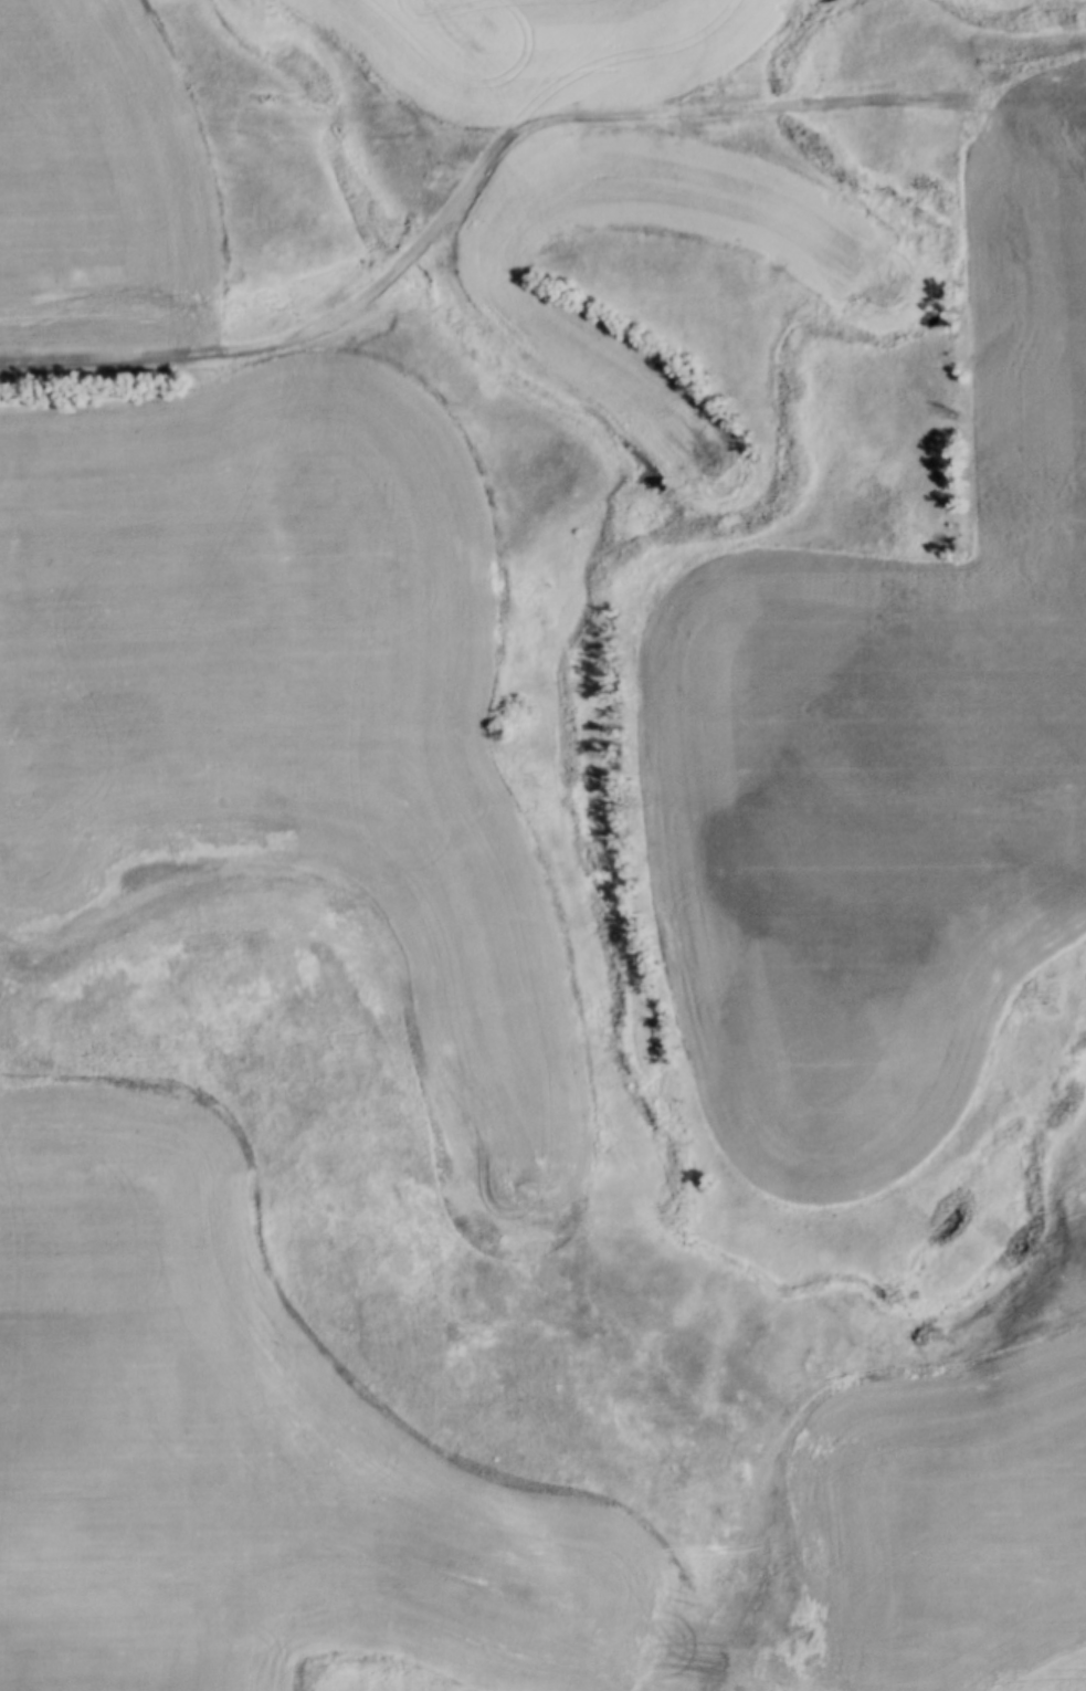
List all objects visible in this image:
road: (281, 342)

